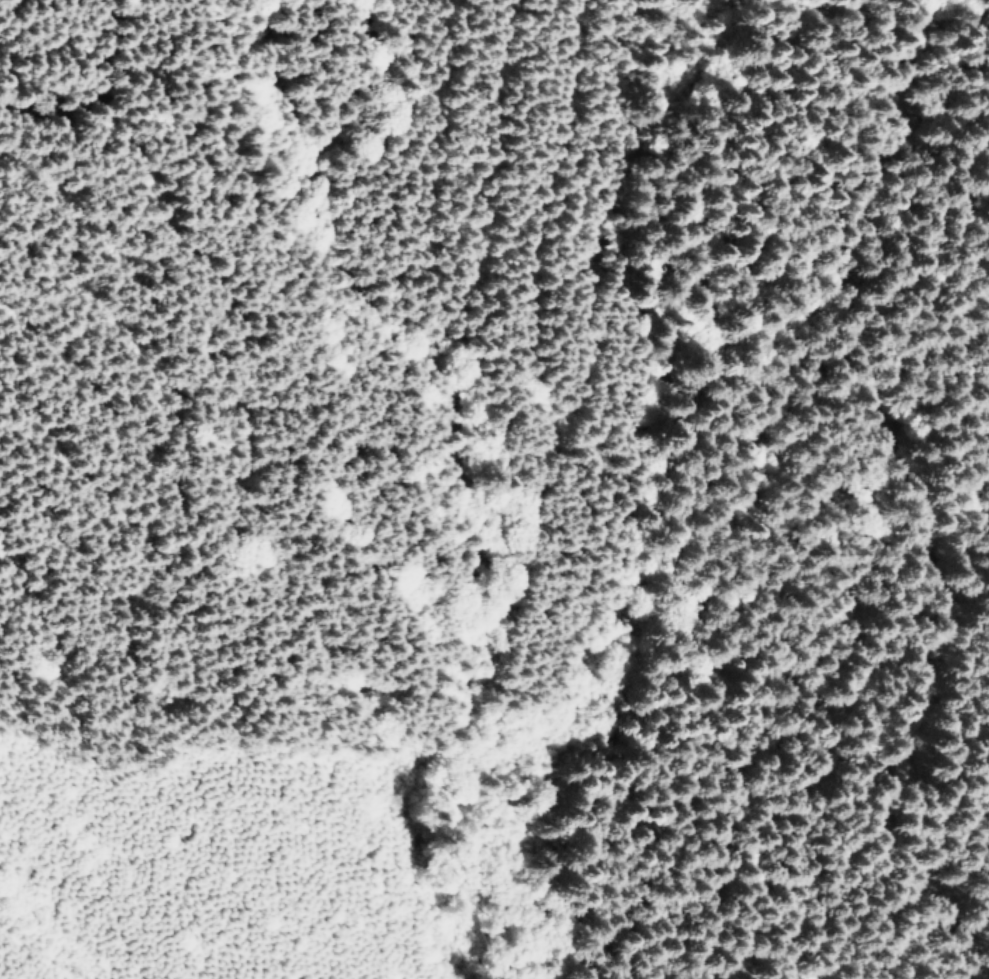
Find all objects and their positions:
road: (91, 79)
road: (958, 687)

